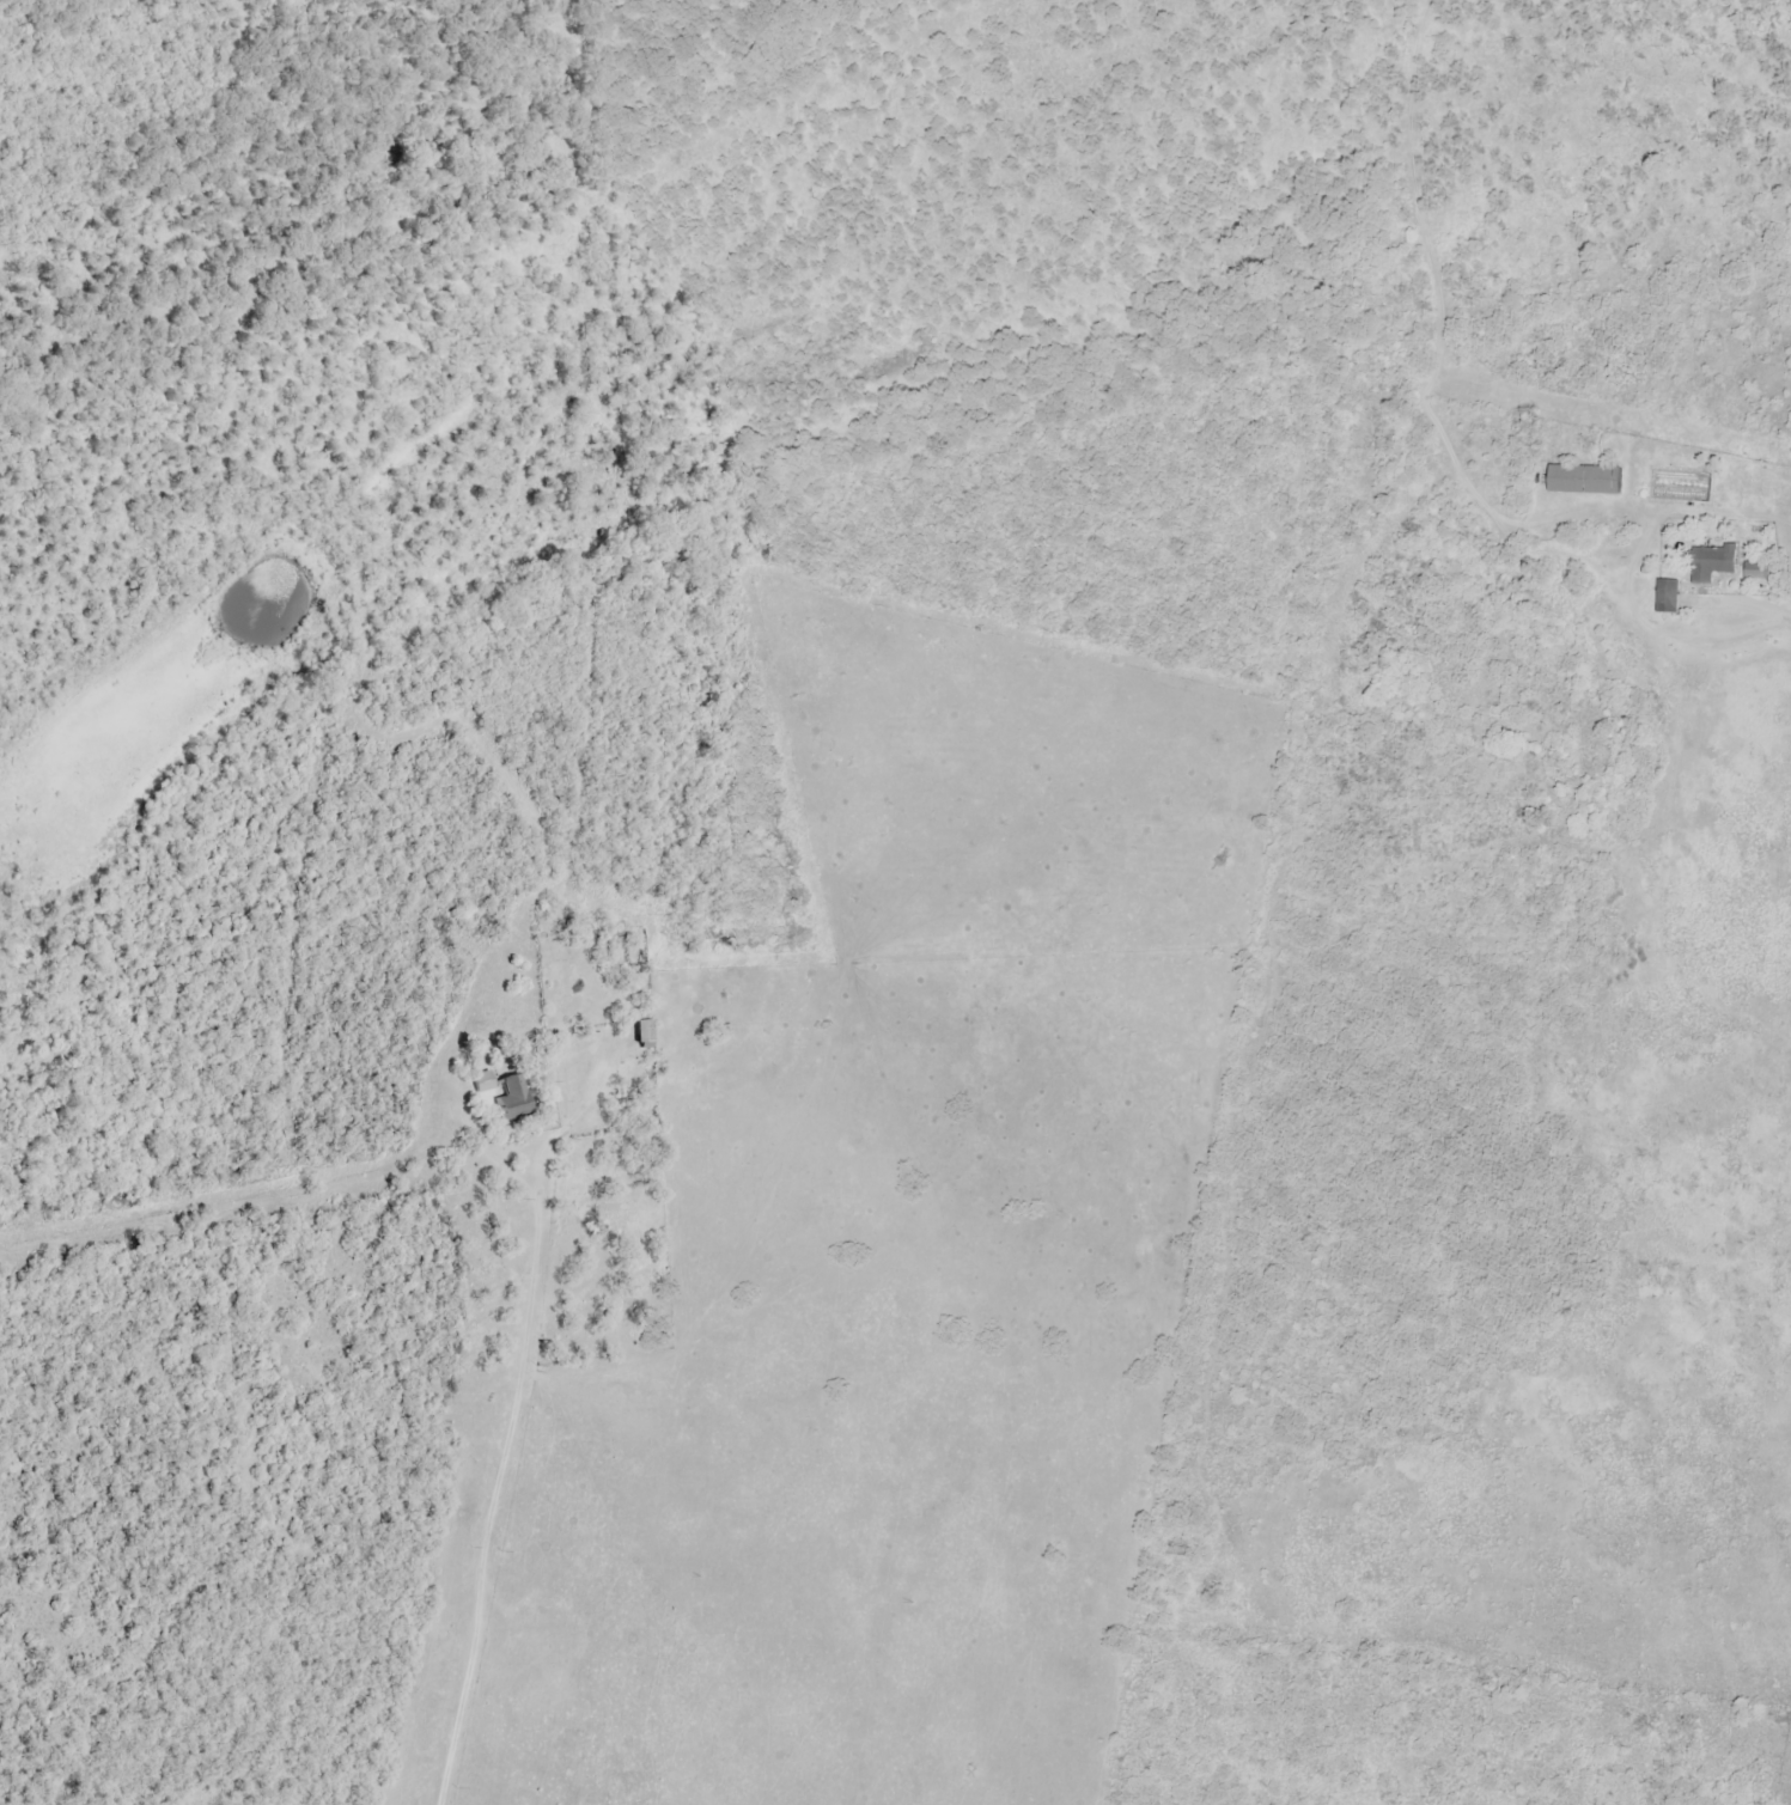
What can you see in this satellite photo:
building: (1588, 480)
building: (1717, 557)
building: (1668, 597)
building: (646, 1035)
building: (481, 1083)
building: (513, 1100)

